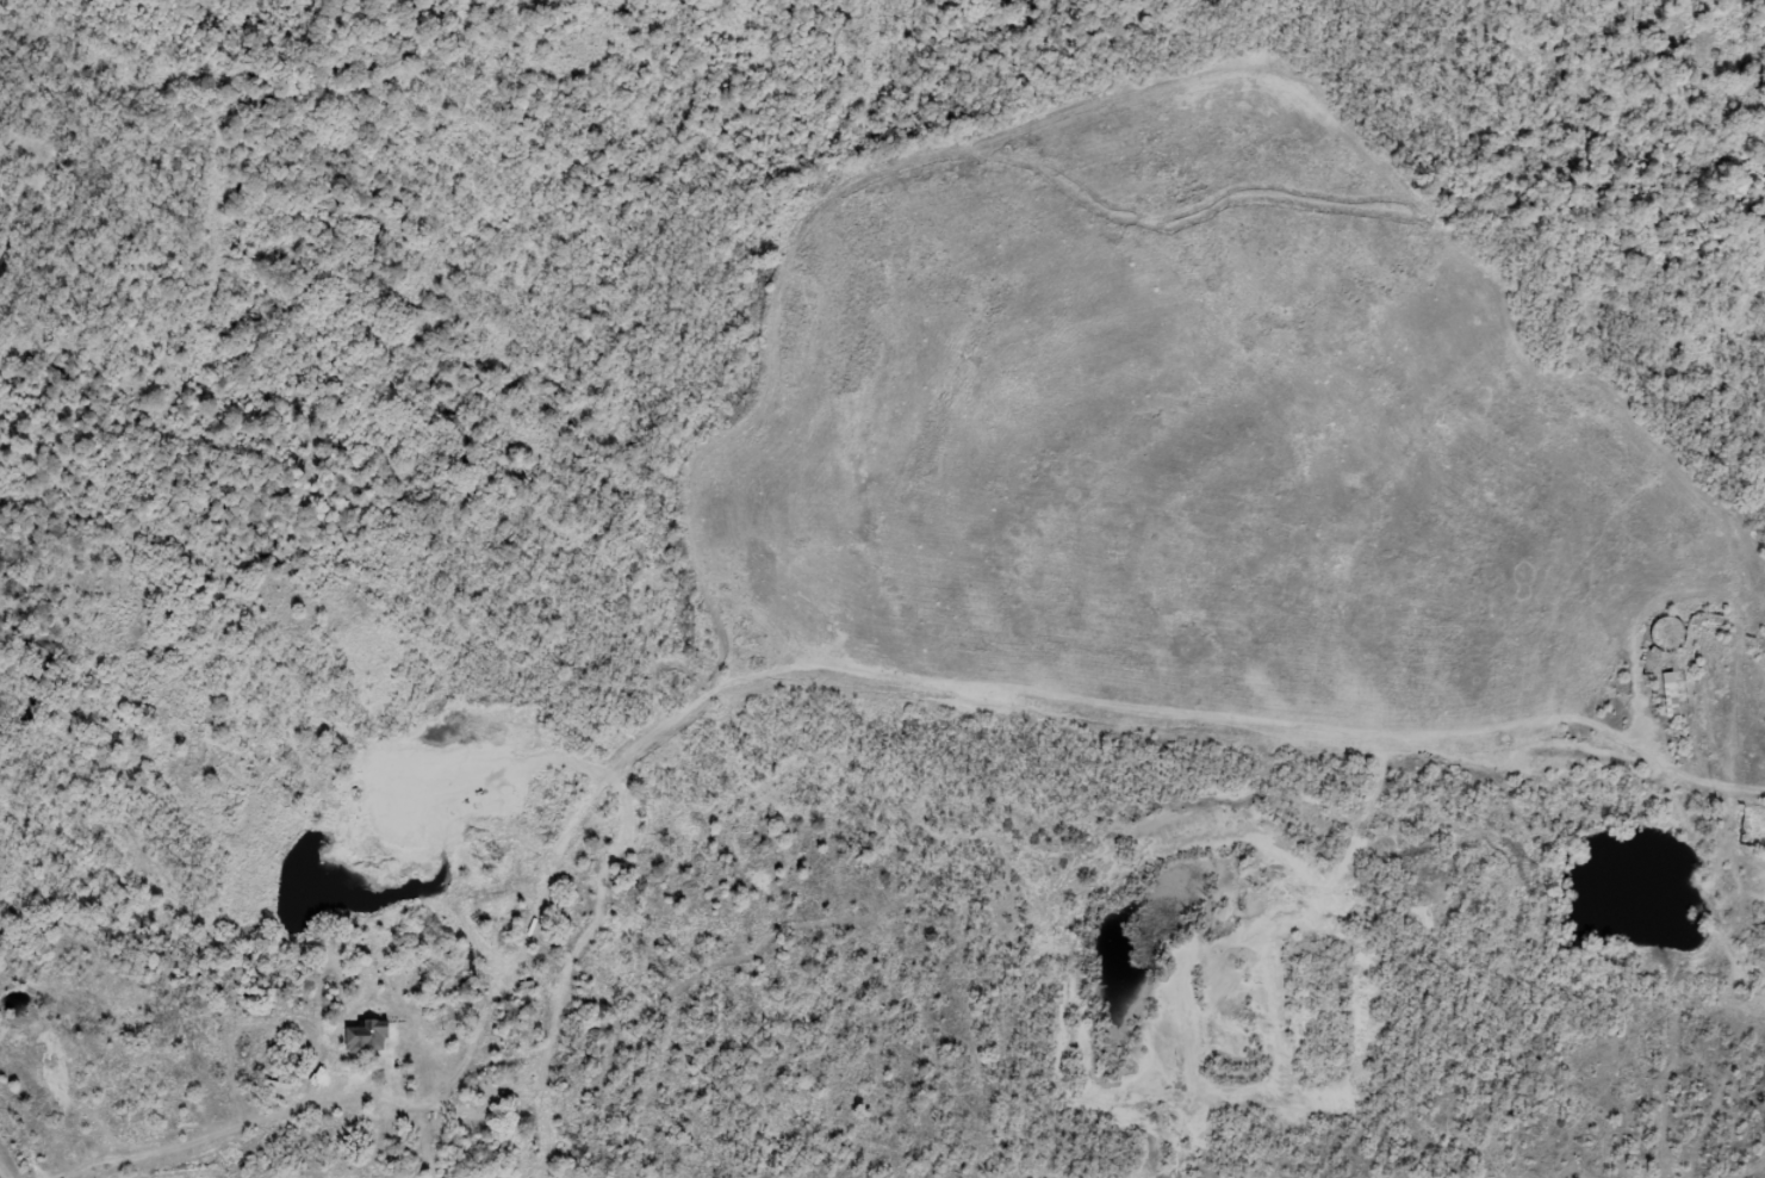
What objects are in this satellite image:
building: (1665, 693)
building: (360, 1035)

